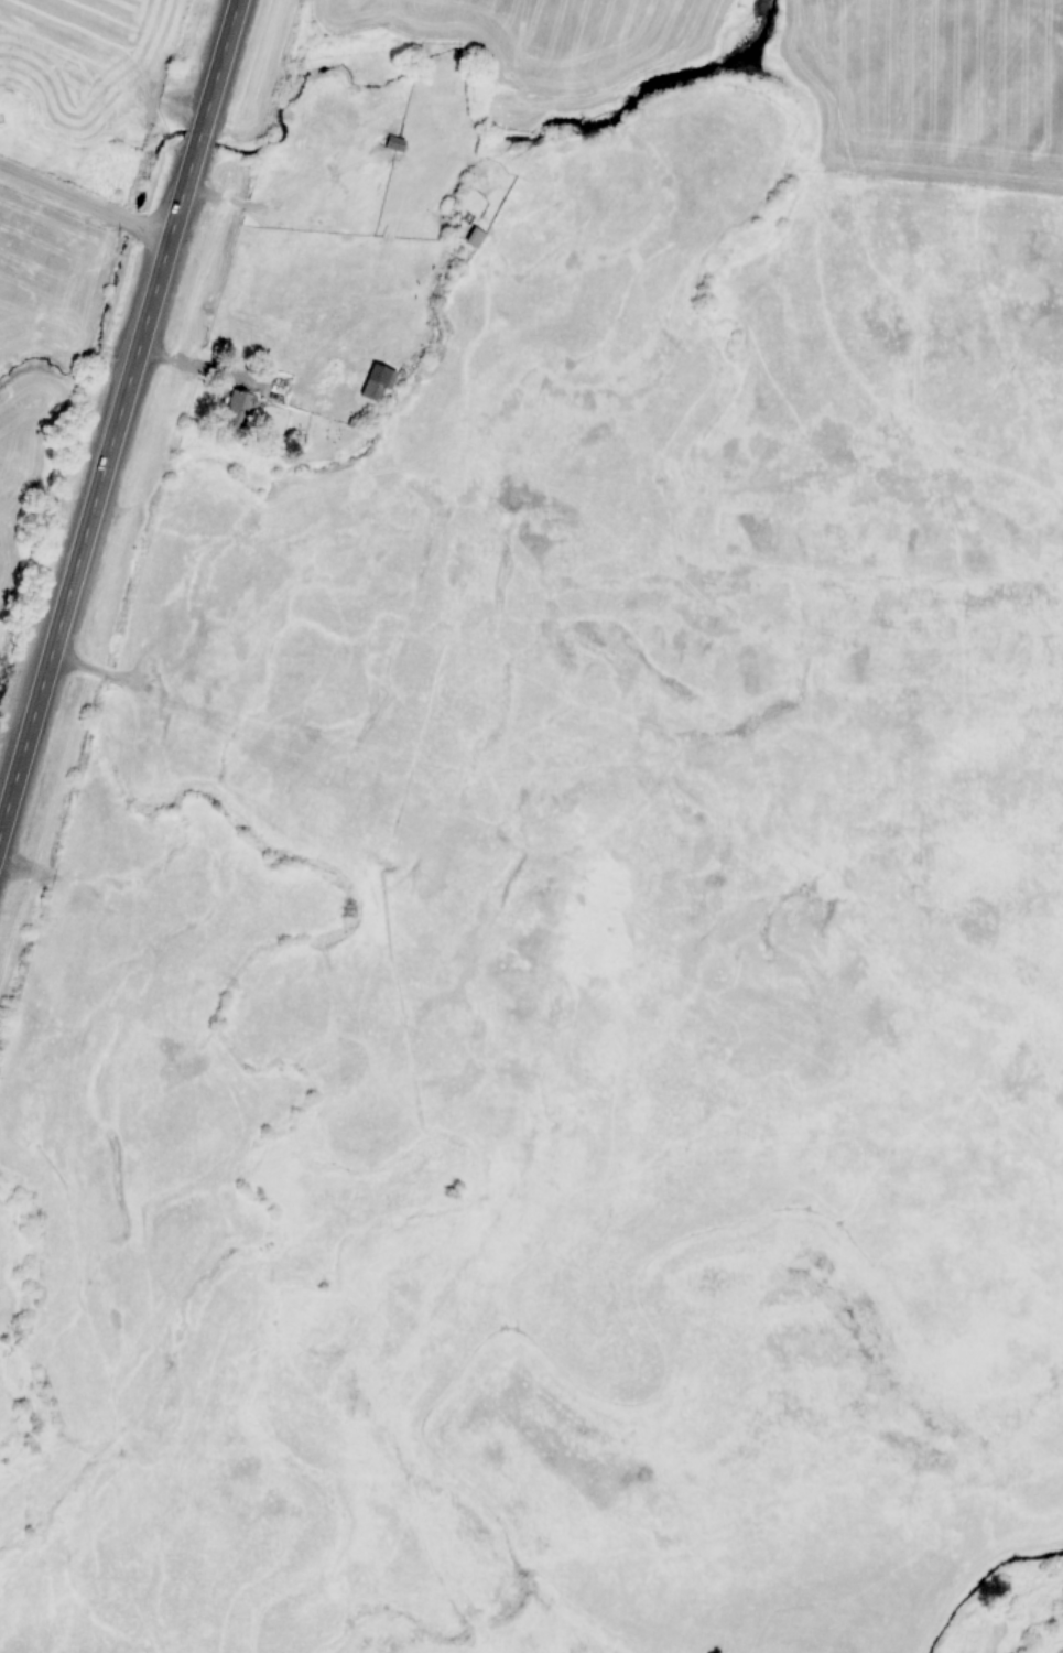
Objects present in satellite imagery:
building: (397, 143)
road: (85, 199)
building: (474, 238)
building: (379, 382)
building: (242, 404)
road: (119, 417)

